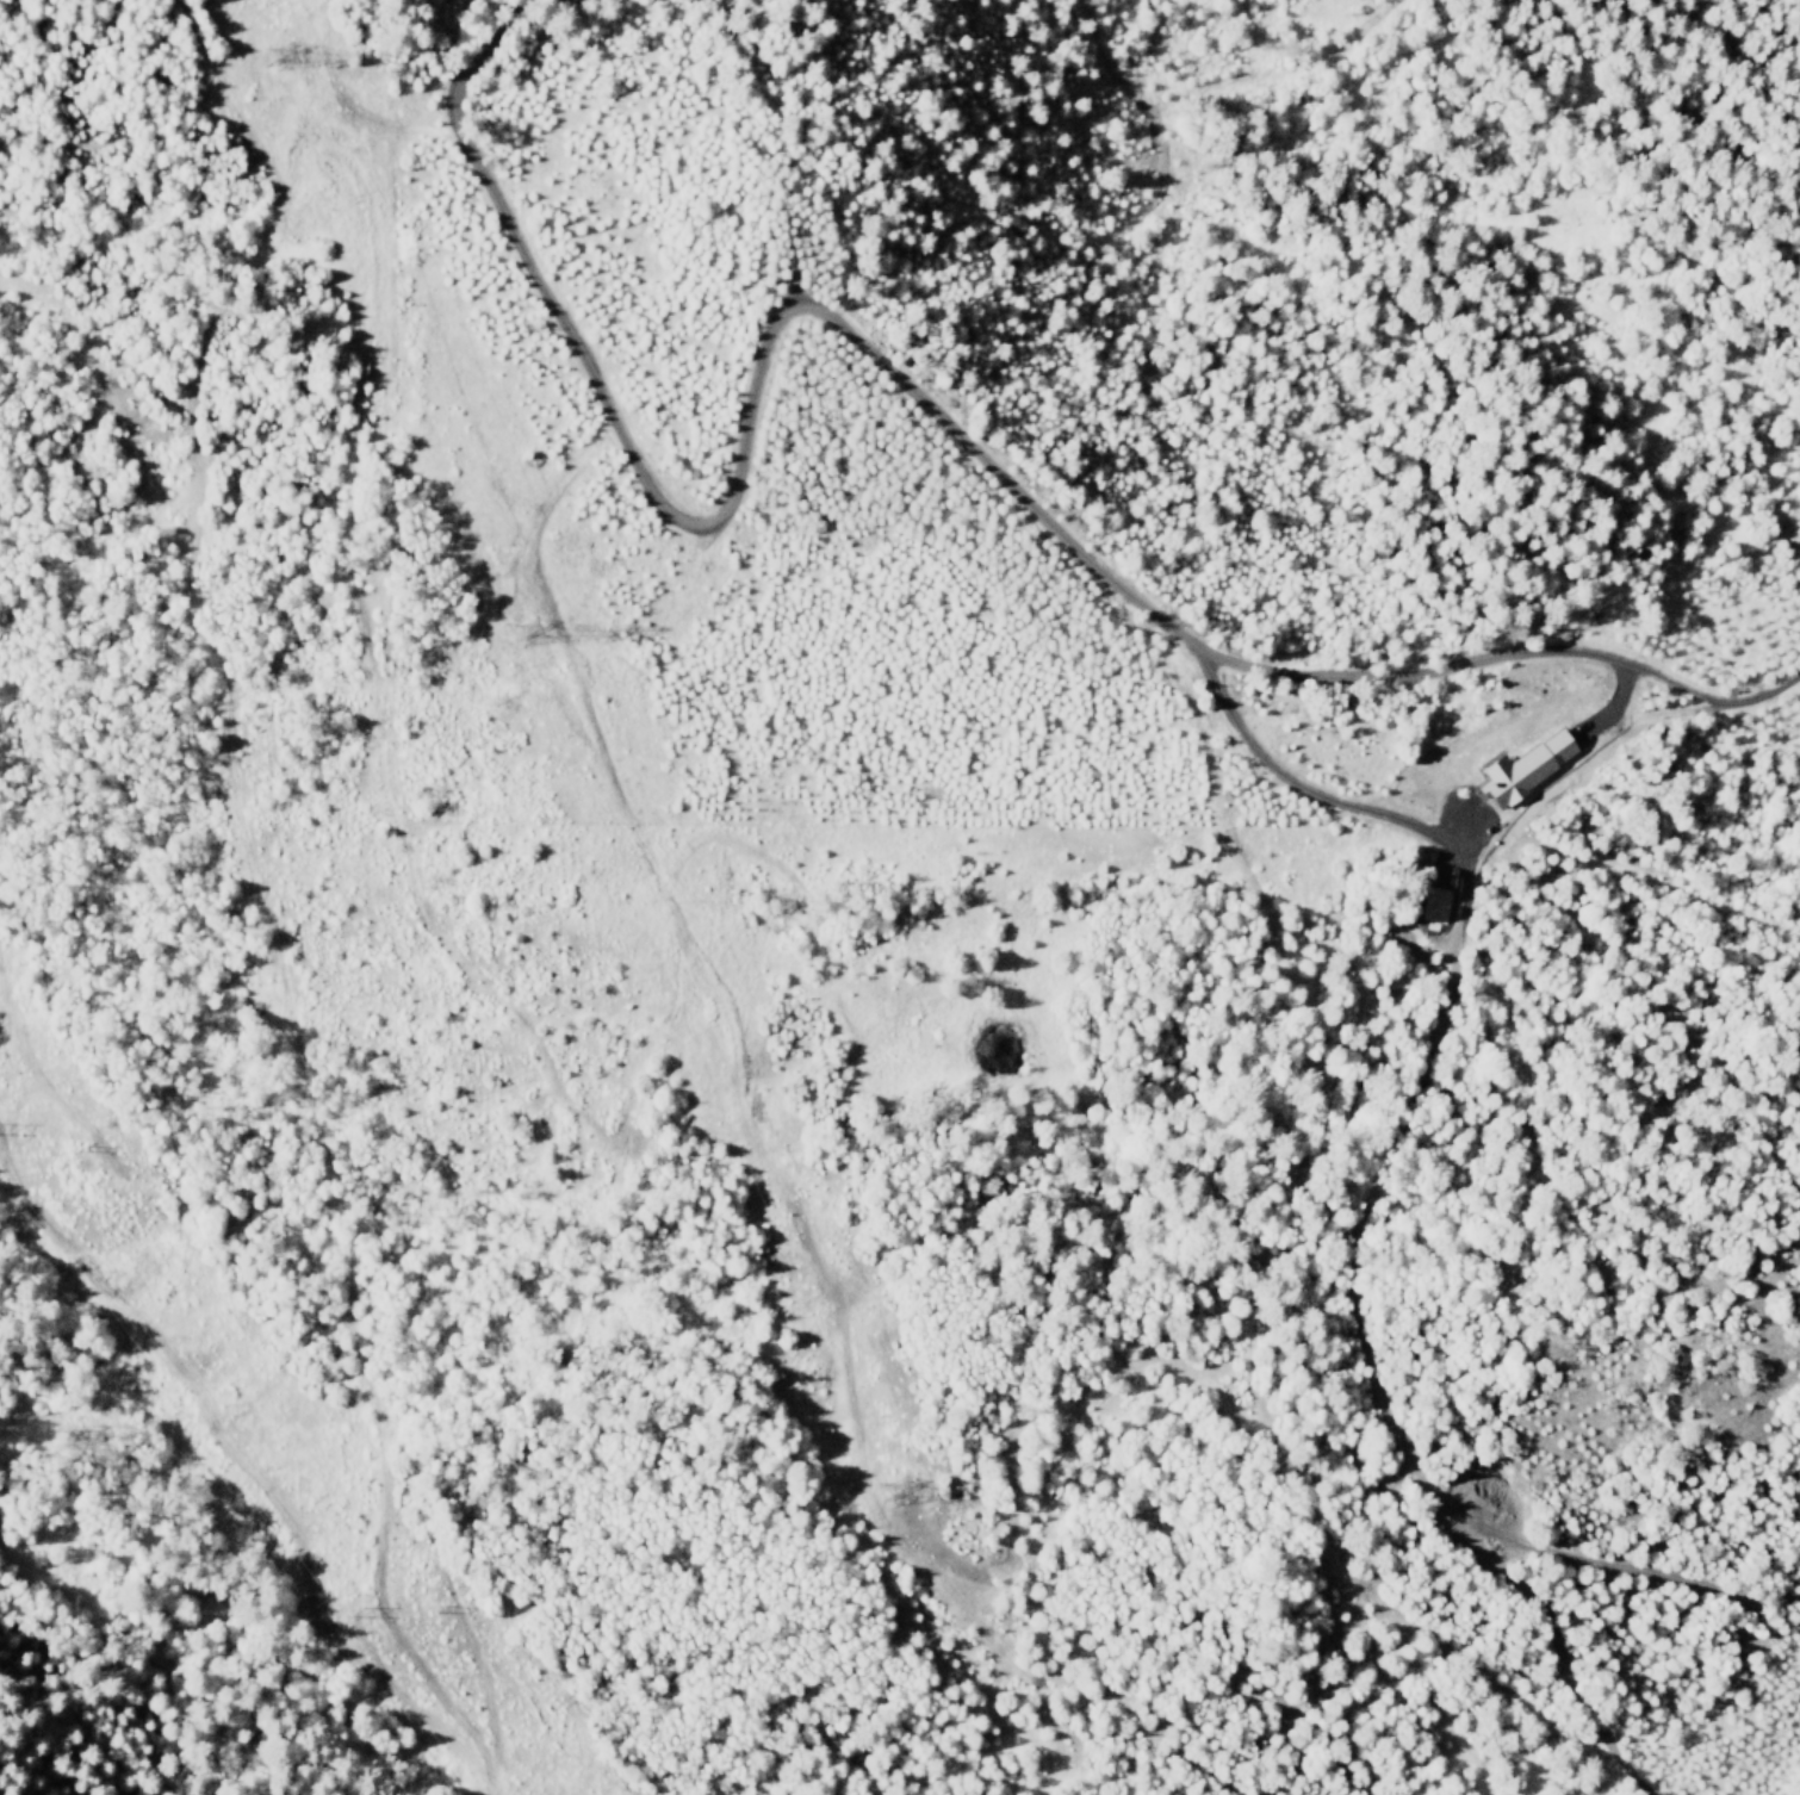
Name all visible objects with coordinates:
power tower: (278, 56)
power tower: (522, 632)
building: (1554, 749)
building: (1507, 775)
power tower: (899, 1492)
power tower: (348, 1613)

